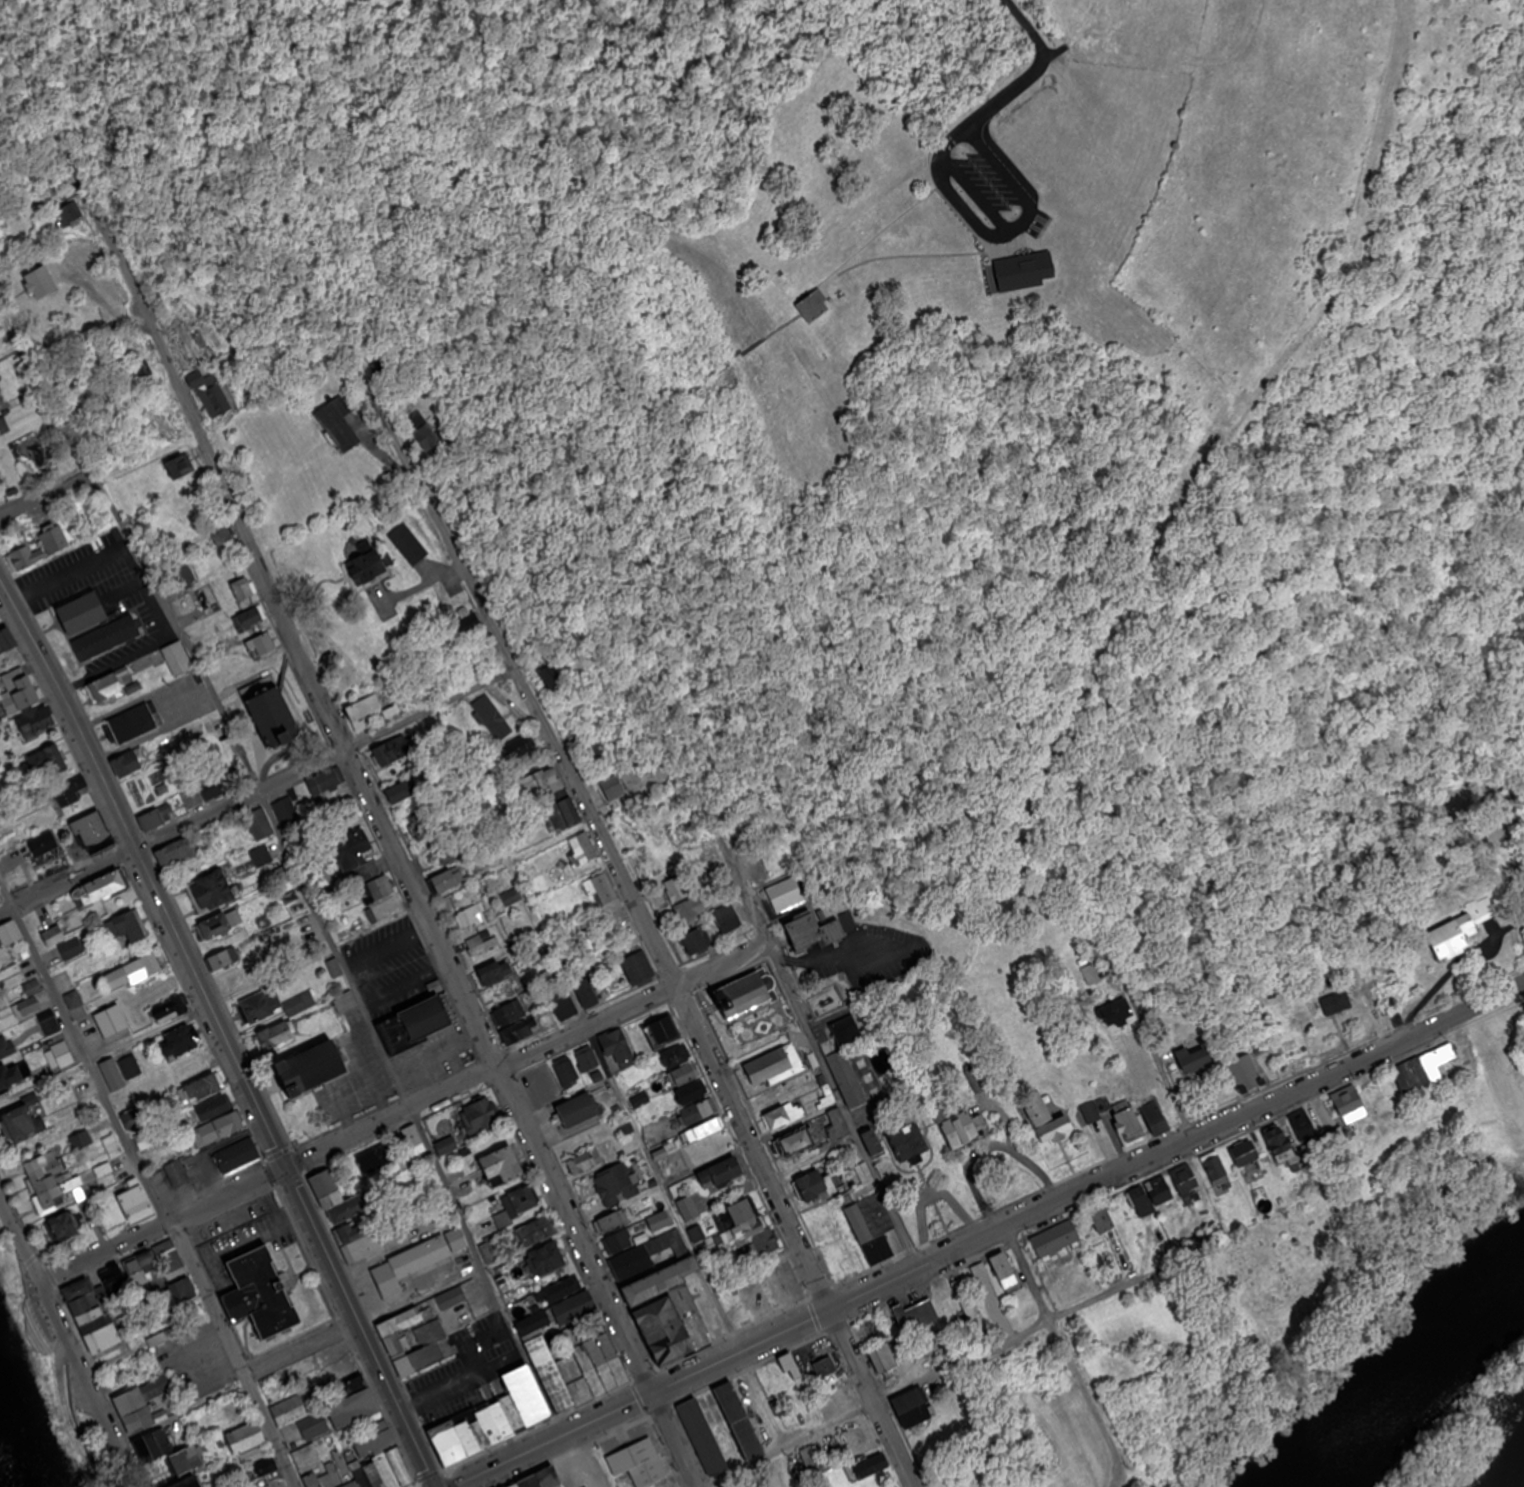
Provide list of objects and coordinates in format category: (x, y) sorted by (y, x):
road: (985, 111)
building: (53, 196)
parking lot: (968, 212)
building: (70, 215)
road: (880, 235)
building: (4, 244)
road: (998, 244)
building: (1017, 262)
park: (855, 280)
building: (40, 282)
building: (814, 302)
building: (195, 347)
building: (141, 372)
building: (210, 392)
building: (339, 424)
building: (2, 429)
building: (108, 445)
building: (180, 466)
road: (45, 496)
building: (223, 533)
building: (54, 538)
building: (409, 544)
building: (30, 554)
building: (367, 566)
building: (185, 575)
building: (243, 589)
building: (252, 618)
building: (94, 624)
building: (469, 625)
flagpole: (47, 626)
building: (6, 641)
building: (262, 646)
building: (178, 658)
building: (552, 677)
building: (111, 687)
building: (18, 692)
building: (272, 710)
building: (364, 713)
building: (493, 718)
building: (133, 722)
building: (36, 723)
road: (333, 724)
building: (521, 747)
building: (390, 753)
building: (597, 754)
building: (47, 762)
building: (130, 762)
building: (544, 781)
building: (325, 783)
building: (615, 789)
building: (70, 792)
building: (212, 792)
road: (260, 792)
building: (401, 793)
building: (285, 811)
building: (563, 815)
building: (151, 821)
building: (417, 821)
building: (261, 825)
building: (645, 829)
building: (93, 834)
building: (44, 844)
building: (584, 849)
building: (177, 852)
building: (354, 857)
road: (616, 863)
road: (293, 864)
building: (757, 864)
building: (452, 878)
building: (104, 886)
building: (674, 887)
building: (377, 889)
building: (210, 892)
building: (513, 898)
building: (607, 902)
building: (385, 910)
building: (688, 911)
building: (471, 918)
building: (728, 918)
building: (222, 924)
building: (126, 927)
building: (815, 930)
building: (1461, 930)
building: (9, 934)
park: (887, 935)
building: (54, 936)
building: (697, 942)
building: (483, 943)
building: (72, 949)
road: (388, 950)
building: (224, 960)
building: (639, 968)
building: (335, 969)
building: (496, 972)
building: (133, 973)
building: (1092, 975)
building: (231, 982)
road: (407, 989)
building: (506, 991)
building: (587, 994)
building: (747, 994)
building: (161, 1001)
building: (563, 1001)
building: (1338, 1003)
building: (273, 1007)
building: (27, 1009)
building: (1118, 1014)
building: (111, 1021)
building: (516, 1023)
building: (416, 1025)
building: (847, 1028)
building: (665, 1031)
road: (224, 1033)
building: (274, 1038)
building: (179, 1043)
building: (615, 1043)
building: (3, 1049)
building: (60, 1056)
building: (677, 1056)
building: (588, 1058)
road: (823, 1058)
building: (1194, 1059)
building: (1436, 1061)
building: (776, 1064)
building: (124, 1067)
building: (194, 1067)
building: (311, 1067)
road: (369, 1072)
building: (567, 1072)
building: (1246, 1072)
building: (686, 1074)
building: (1411, 1076)
building: (10, 1077)
building: (849, 1077)
building: (204, 1087)
building: (547, 1087)
building: (692, 1092)
road: (336, 1093)
building: (642, 1100)
building: (1350, 1104)
building: (214, 1108)
building: (578, 1109)
building: (699, 1111)
road: (408, 1112)
building: (785, 1115)
building: (481, 1116)
building: (1157, 1118)
building: (1118, 1119)
building: (1048, 1121)
building: (19, 1122)
building: (838, 1125)
building: (1305, 1127)
building: (218, 1130)
building: (963, 1130)
flagpole: (298, 1136)
building: (1338, 1137)
building: (908, 1140)
building: (82, 1141)
building: (145, 1141)
building: (703, 1141)
building: (797, 1142)
building: (872, 1142)
building: (412, 1143)
building: (1281, 1145)
building: (446, 1146)
building: (113, 1147)
building: (1246, 1153)
building: (238, 1154)
building: (378, 1159)
building: (586, 1163)
building: (502, 1167)
building: (1217, 1169)
building: (104, 1170)
building: (179, 1172)
building: (721, 1173)
building: (865, 1174)
building: (52, 1179)
road: (149, 1180)
building: (1186, 1180)
building: (616, 1186)
building: (816, 1187)
building: (328, 1188)
building: (1161, 1191)
building: (524, 1199)
building: (134, 1200)
building: (1143, 1201)
building: (354, 1208)
building: (503, 1221)
building: (614, 1221)
building: (1104, 1221)
building: (65, 1224)
building: (871, 1225)
building: (746, 1228)
building: (350, 1232)
building: (537, 1232)
building: (698, 1235)
building: (1056, 1237)
road: (986, 1238)
building: (620, 1241)
building: (366, 1245)
building: (841, 1252)
building: (545, 1260)
building: (413, 1263)
building: (631, 1264)
building: (1005, 1271)
building: (136, 1273)
building: (175, 1273)
building: (981, 1275)
building: (113, 1278)
building: (781, 1285)
building: (79, 1288)
building: (262, 1292)
building: (86, 1303)
building: (757, 1304)
building: (736, 1306)
building: (668, 1311)
building: (429, 1314)
building: (915, 1317)
building: (94, 1319)
building: (103, 1338)
road: (68, 1340)
building: (432, 1347)
road: (57, 1348)
road: (1068, 1351)
road: (303, 1353)
building: (883, 1358)
building: (606, 1360)
building: (790, 1366)
building: (588, 1368)
building: (825, 1368)
building: (552, 1374)
road: (931, 1374)
building: (575, 1379)
building: (768, 1383)
building: (352, 1387)
building: (527, 1395)
road: (875, 1399)
building: (911, 1400)
building: (143, 1404)
building: (299, 1407)
building: (352, 1409)
building: (512, 1413)
building: (918, 1415)
building: (739, 1418)
building: (316, 1423)
building: (494, 1423)
building: (703, 1435)
building: (245, 1437)
building: (472, 1437)
road: (674, 1440)
building: (447, 1442)
building: (155, 1444)
building: (376, 1445)
building: (189, 1459)
building: (312, 1462)
building: (639, 1462)
building: (811, 1462)
building: (399, 1467)
building: (870, 1467)
building: (265, 1468)
building: (342, 1470)
building: (386, 1471)
building: (360, 1474)
building: (373, 1474)
building: (550, 1478)
building: (321, 1481)
building: (529, 1482)
road: (1120, 1482)
building: (187, 1483)
building: (351, 1484)
building: (514, 1485)

